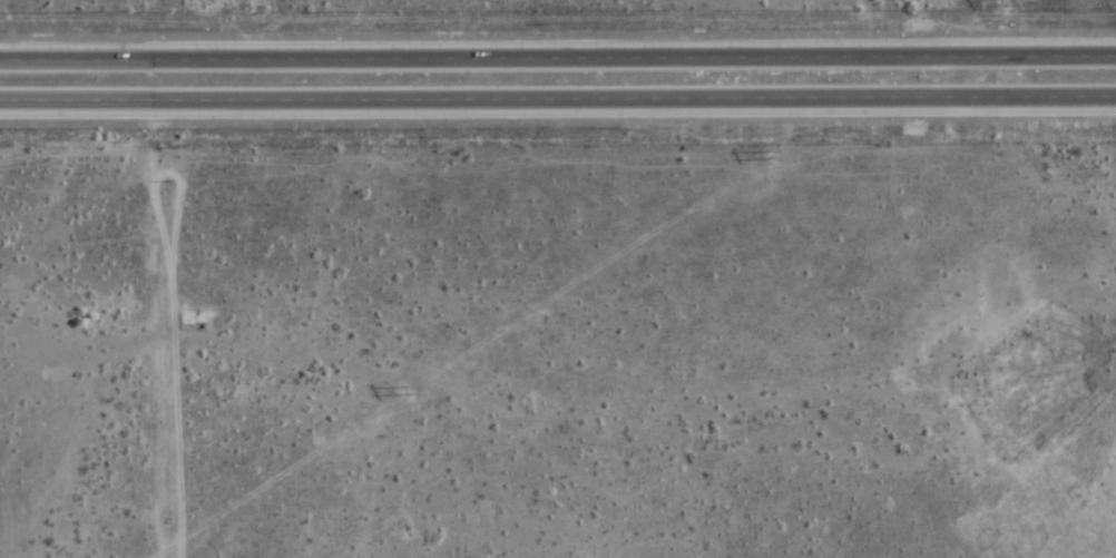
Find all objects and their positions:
power tower: (999, 3)
road: (558, 58)
road: (558, 99)
power tower: (765, 156)
power tower: (408, 391)

